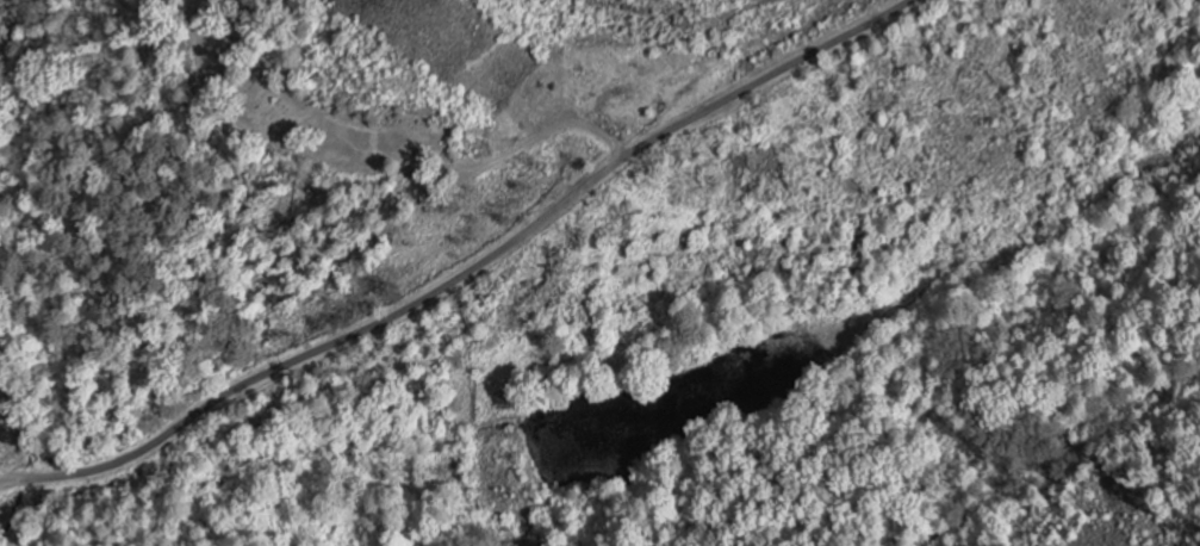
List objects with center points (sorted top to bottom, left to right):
power tower: (409, 4)
road: (812, 52)
road: (368, 325)

